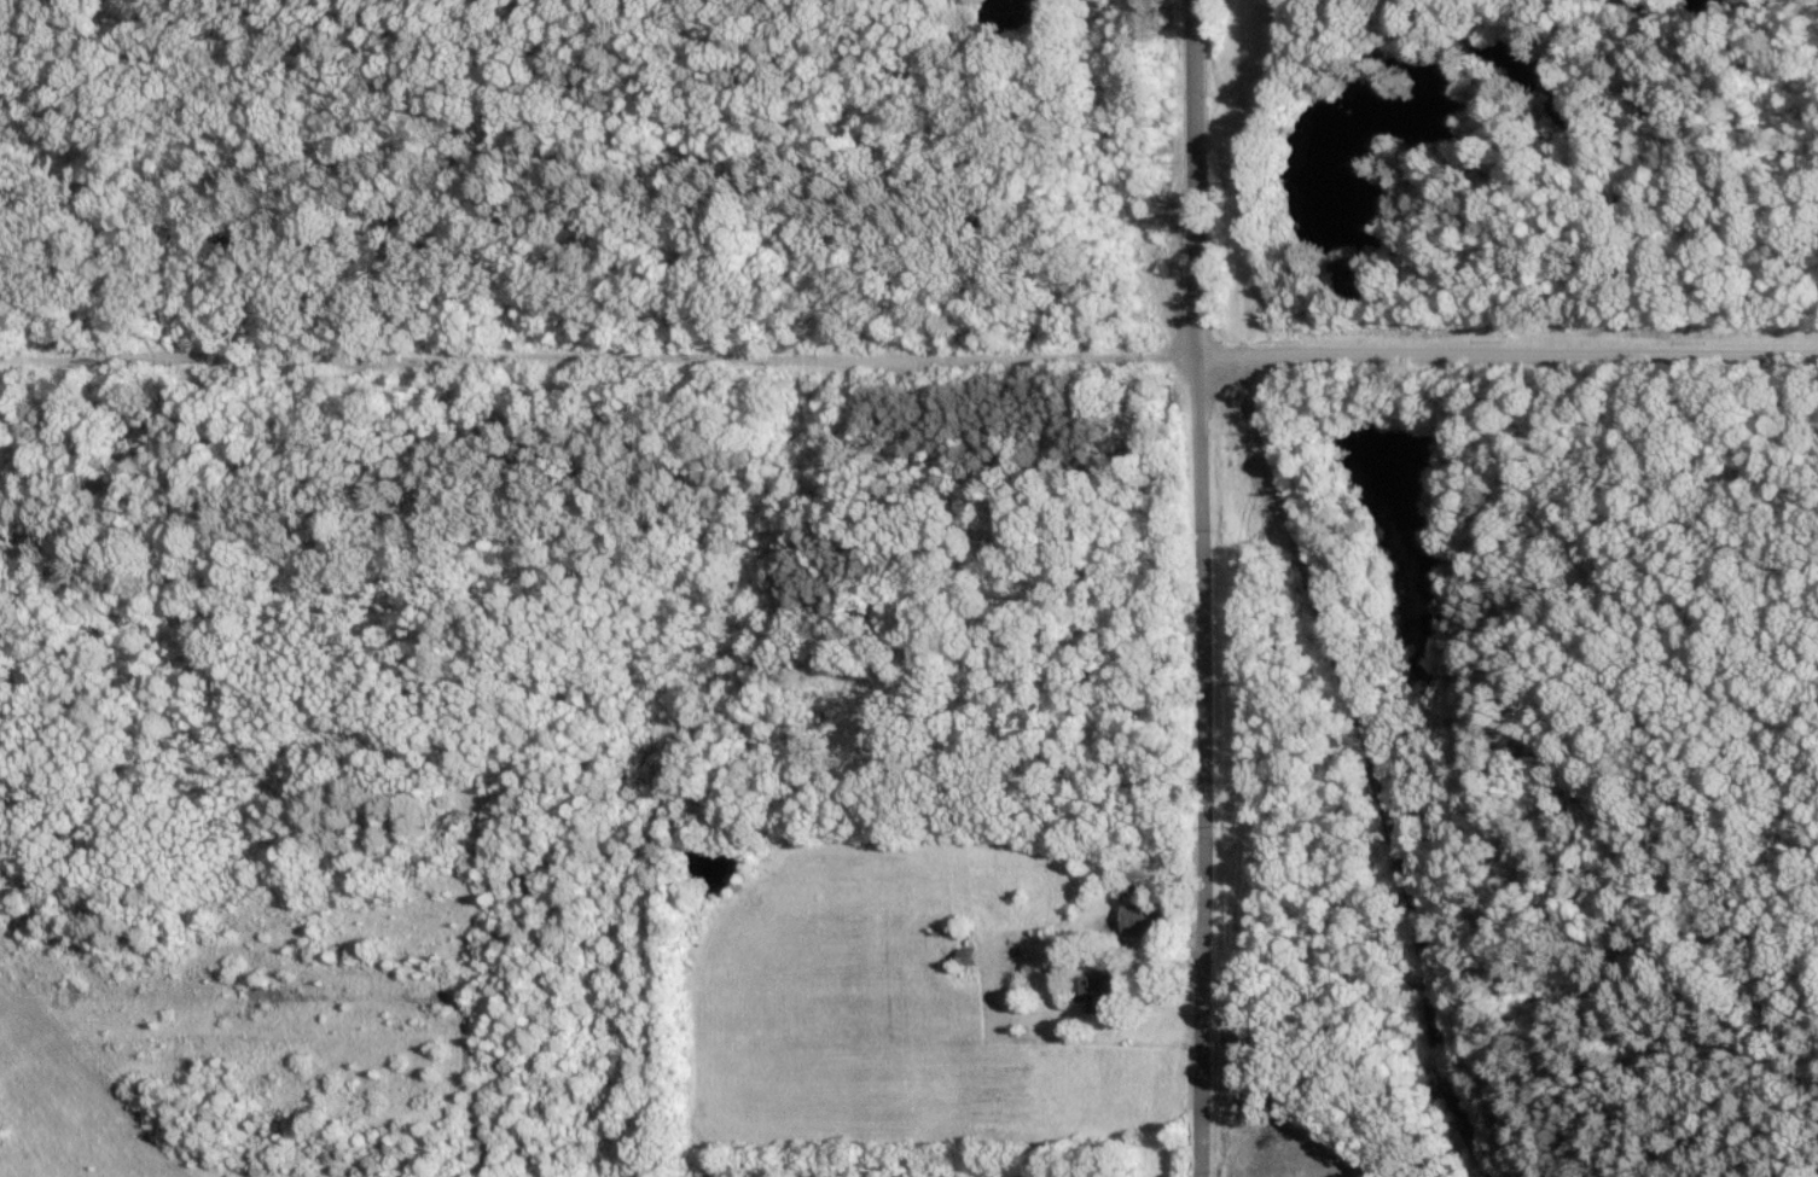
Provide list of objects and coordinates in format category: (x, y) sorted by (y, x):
road: (908, 354)
road: (1197, 501)
road: (1200, 1090)

